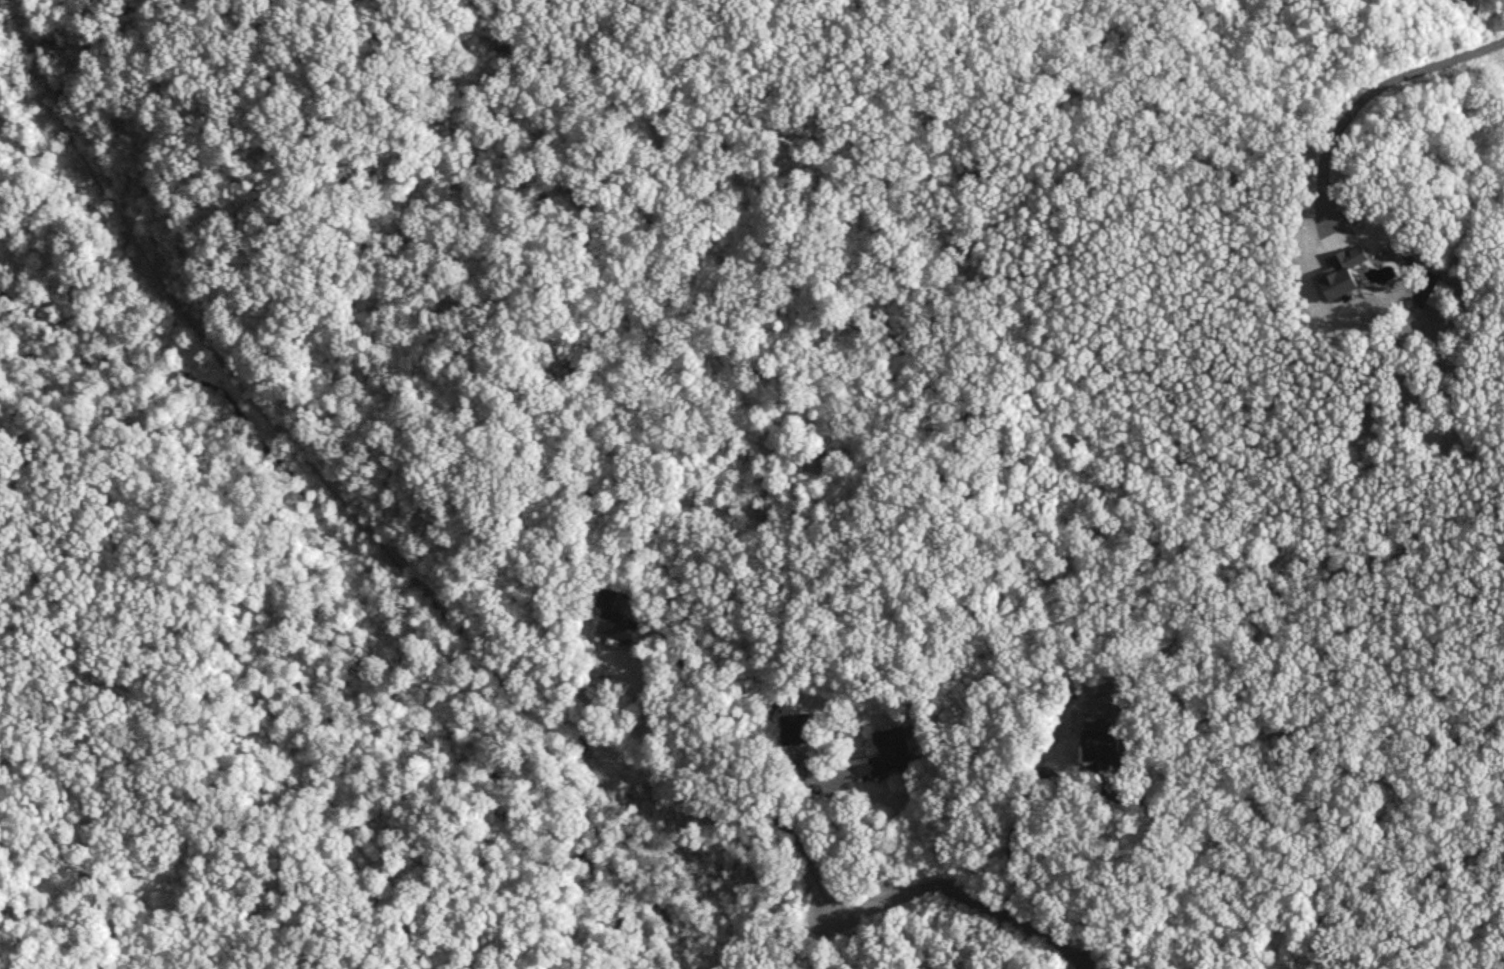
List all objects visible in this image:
road: (1378, 104)
building: (612, 620)
building: (795, 729)
building: (1098, 747)
building: (887, 752)
road: (1016, 814)
road: (850, 827)
road: (820, 880)

